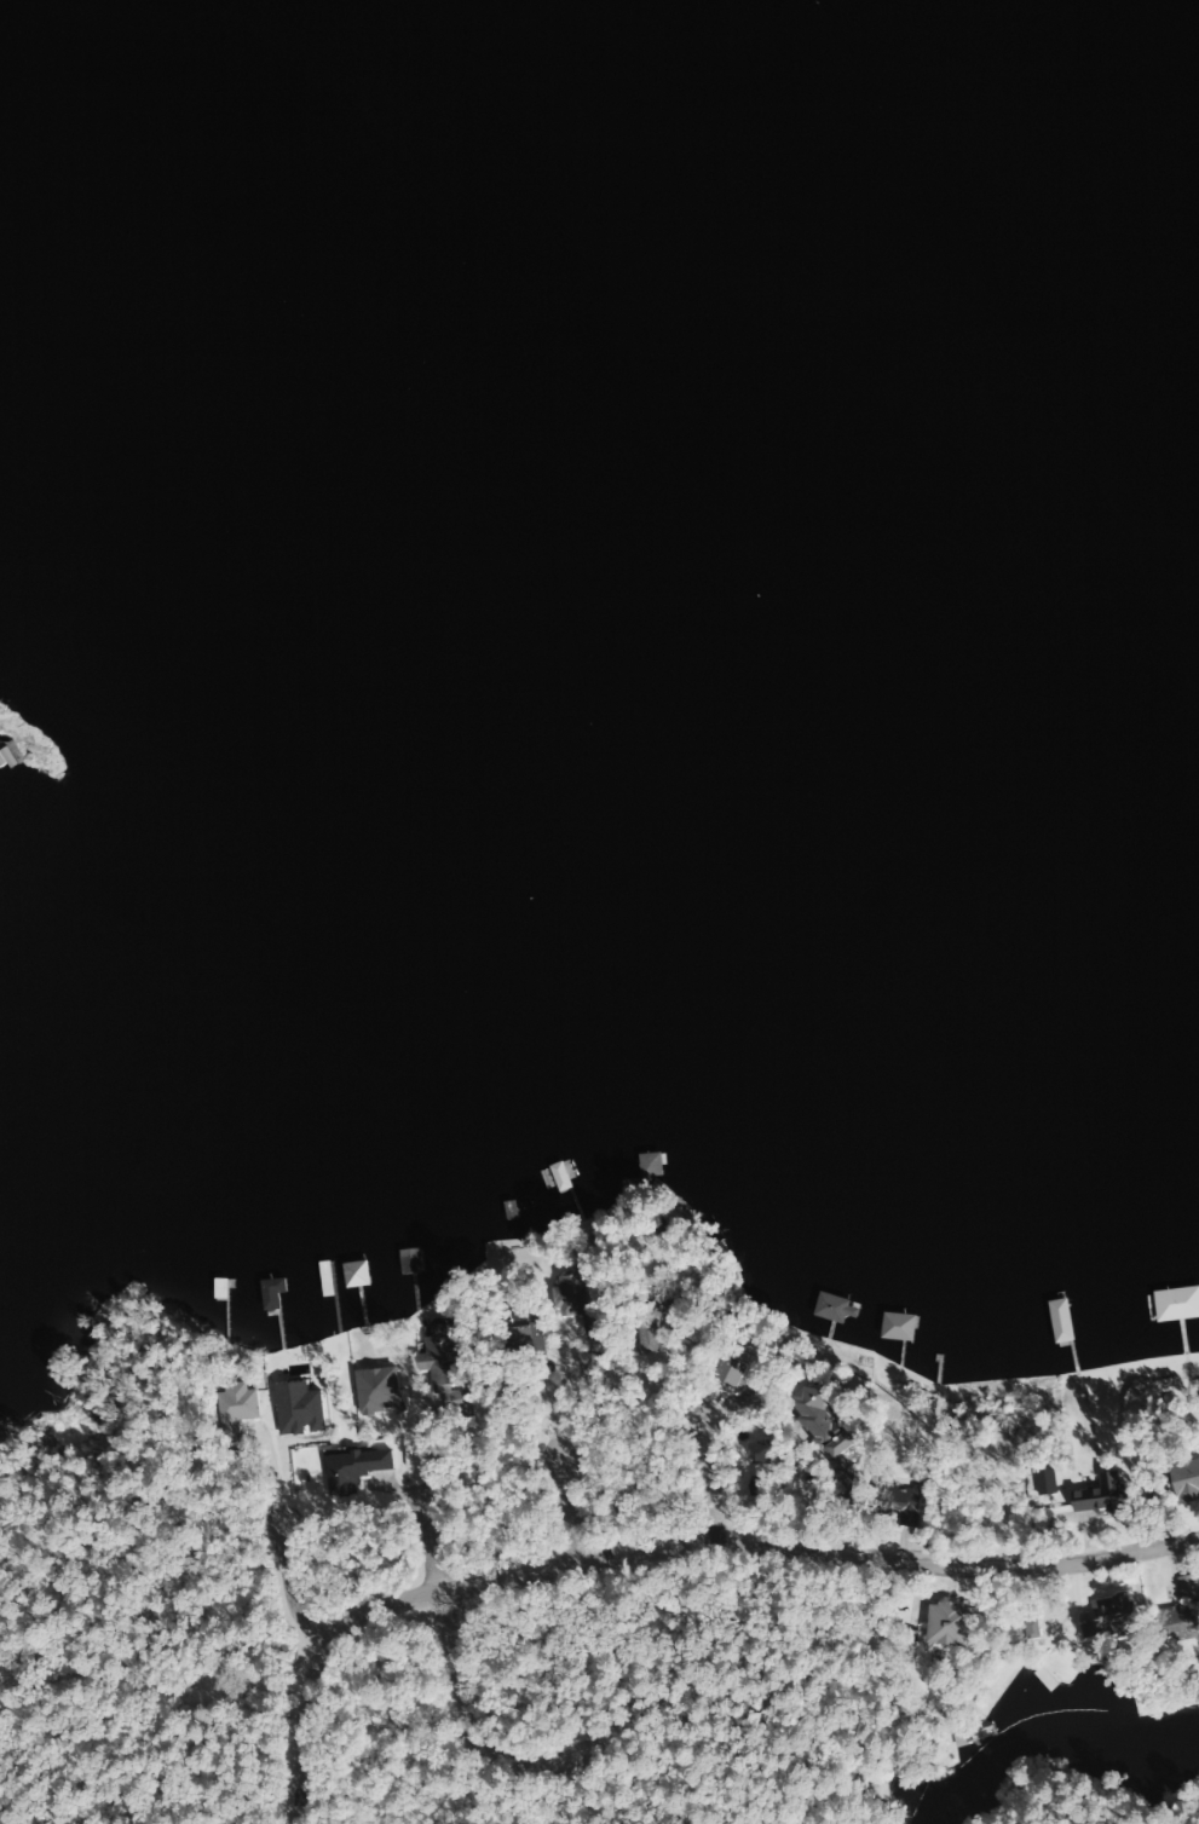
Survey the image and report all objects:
building: (4, 757)
building: (647, 1165)
building: (557, 1177)
building: (408, 1260)
building: (323, 1280)
building: (218, 1291)
building: (567, 1301)
building: (1170, 1304)
building: (830, 1309)
building: (524, 1338)
building: (438, 1364)
building: (725, 1369)
road: (733, 1395)
building: (230, 1410)
building: (815, 1421)
road: (445, 1432)
road: (959, 1445)
building: (348, 1468)
building: (1184, 1480)
building: (898, 1503)
road: (1154, 1534)
road: (650, 1537)
road: (227, 1548)
building: (1178, 1614)
building: (1105, 1618)
building: (944, 1623)
road: (467, 1666)

